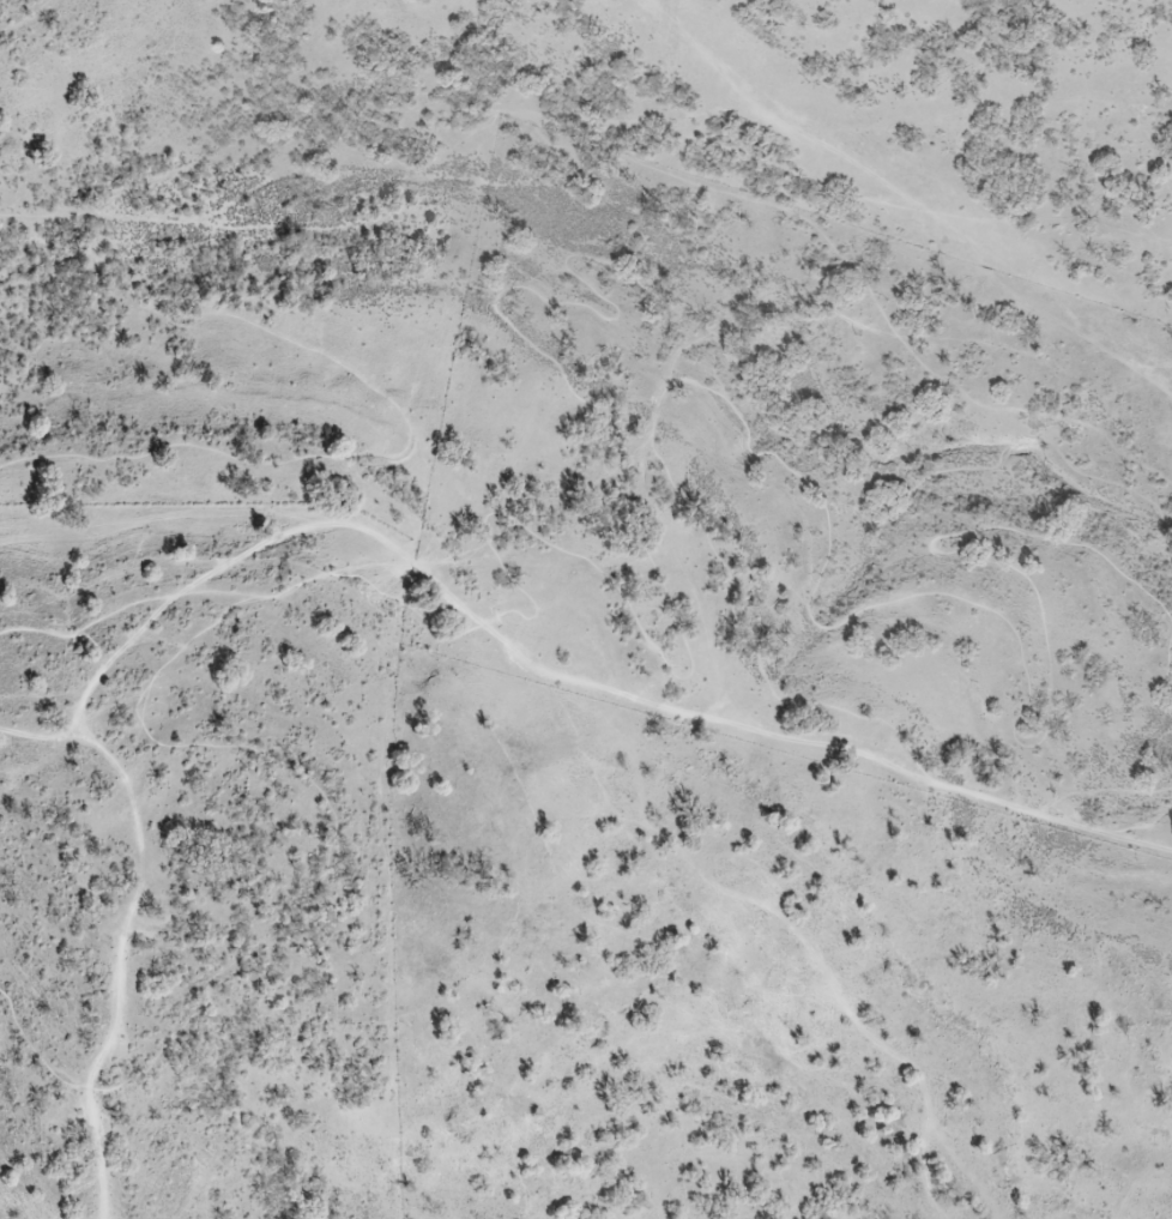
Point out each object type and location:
road: (25, 19)
road: (1159, 156)
road: (883, 187)
road: (34, 217)
road: (536, 291)
road: (410, 436)
road: (360, 526)
road: (739, 618)
road: (74, 633)
road: (1015, 732)
road: (55, 737)
road: (232, 746)
road: (1049, 808)
road: (30, 1048)

